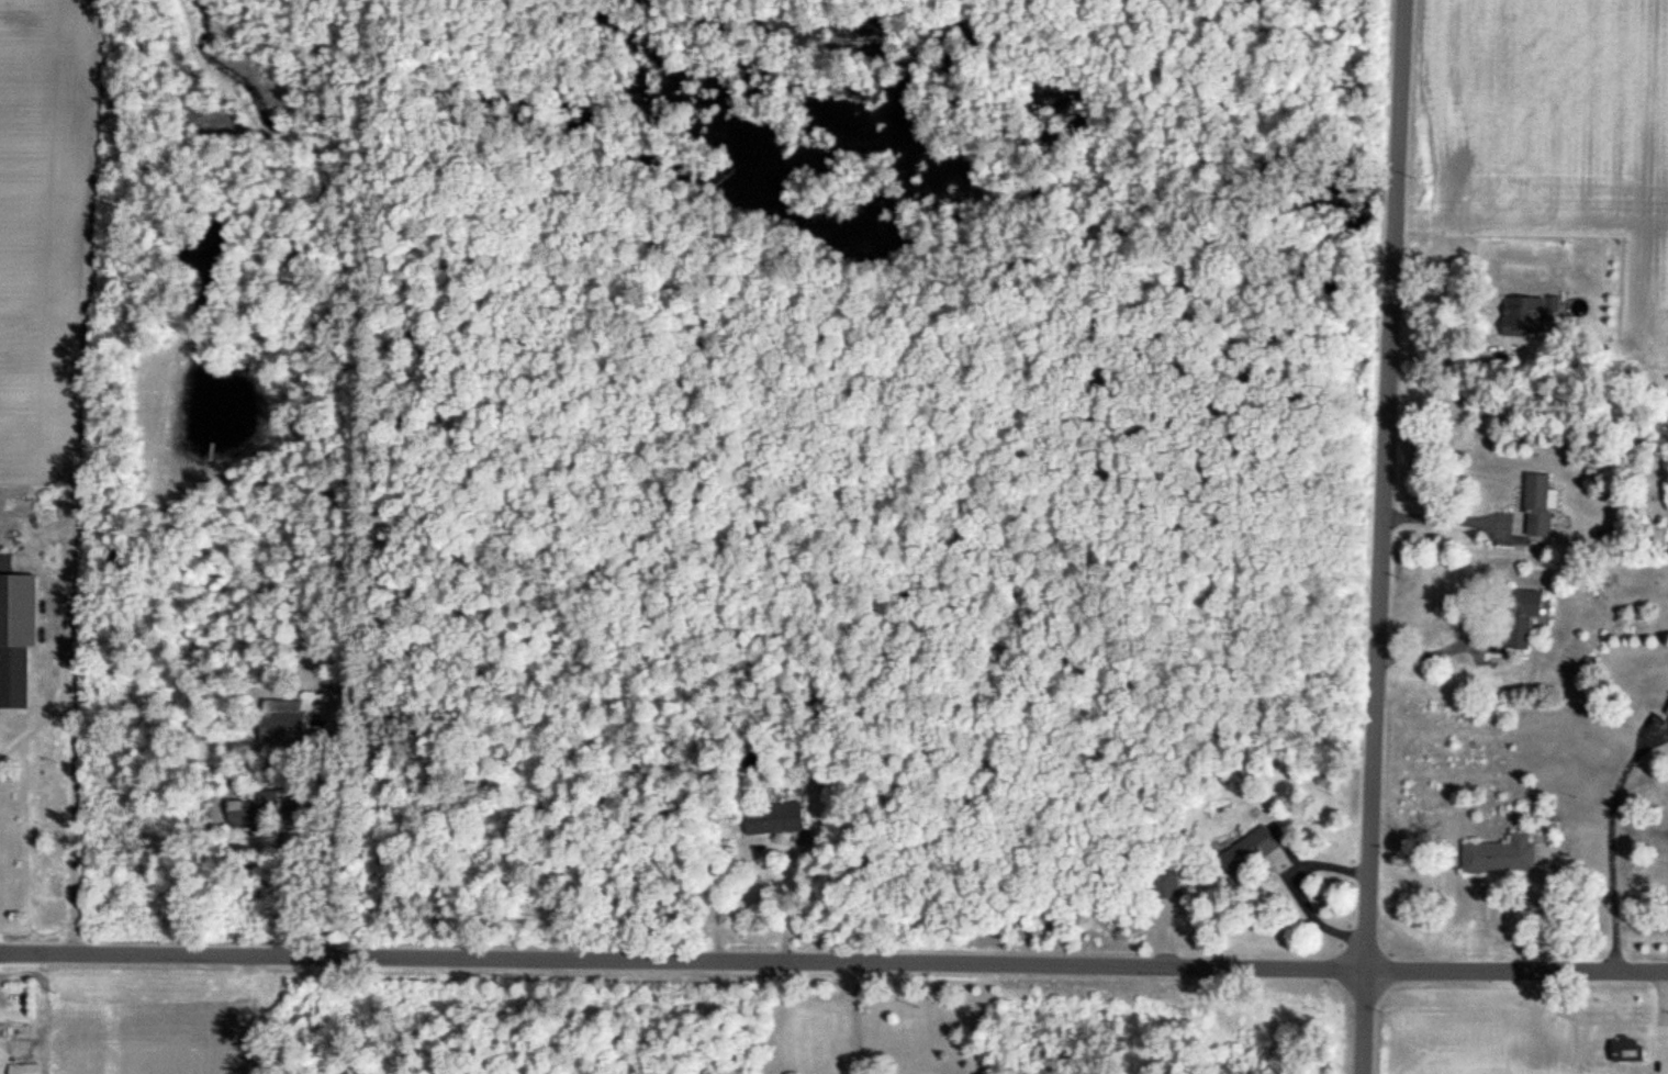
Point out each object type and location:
building: (1524, 315)
road: (310, 416)
building: (1540, 506)
road: (1378, 536)
building: (1519, 616)
building: (13, 675)
building: (1667, 712)
building: (282, 727)
road: (70, 767)
building: (255, 809)
building: (776, 819)
road: (765, 850)
building: (1249, 852)
building: (1501, 855)
building: (1166, 881)
road: (70, 924)
road: (833, 962)
road: (850, 1018)
building: (14, 1030)
building: (1628, 1051)
building: (1660, 1052)
building: (24, 1069)

